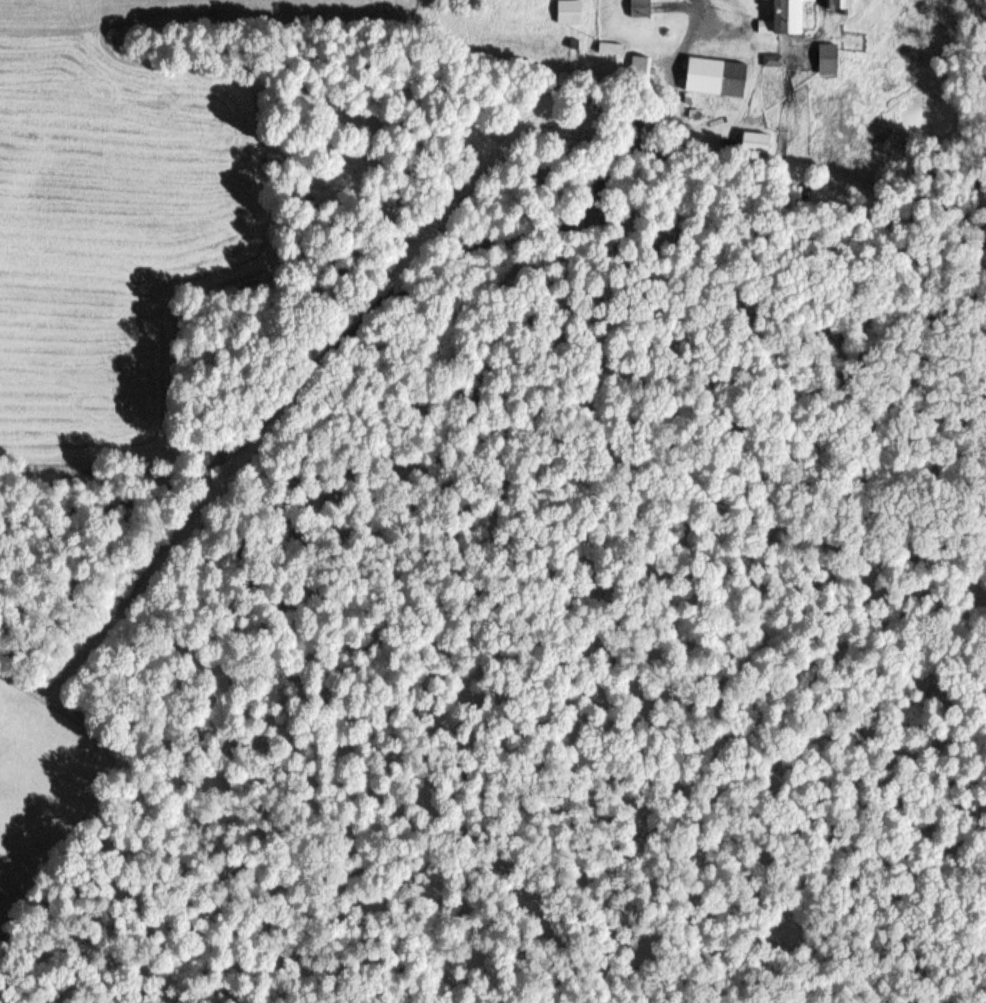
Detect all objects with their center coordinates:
building: (839, 5)
building: (641, 8)
building: (570, 12)
building: (786, 19)
building: (829, 60)
building: (640, 67)
building: (718, 77)
building: (757, 143)

